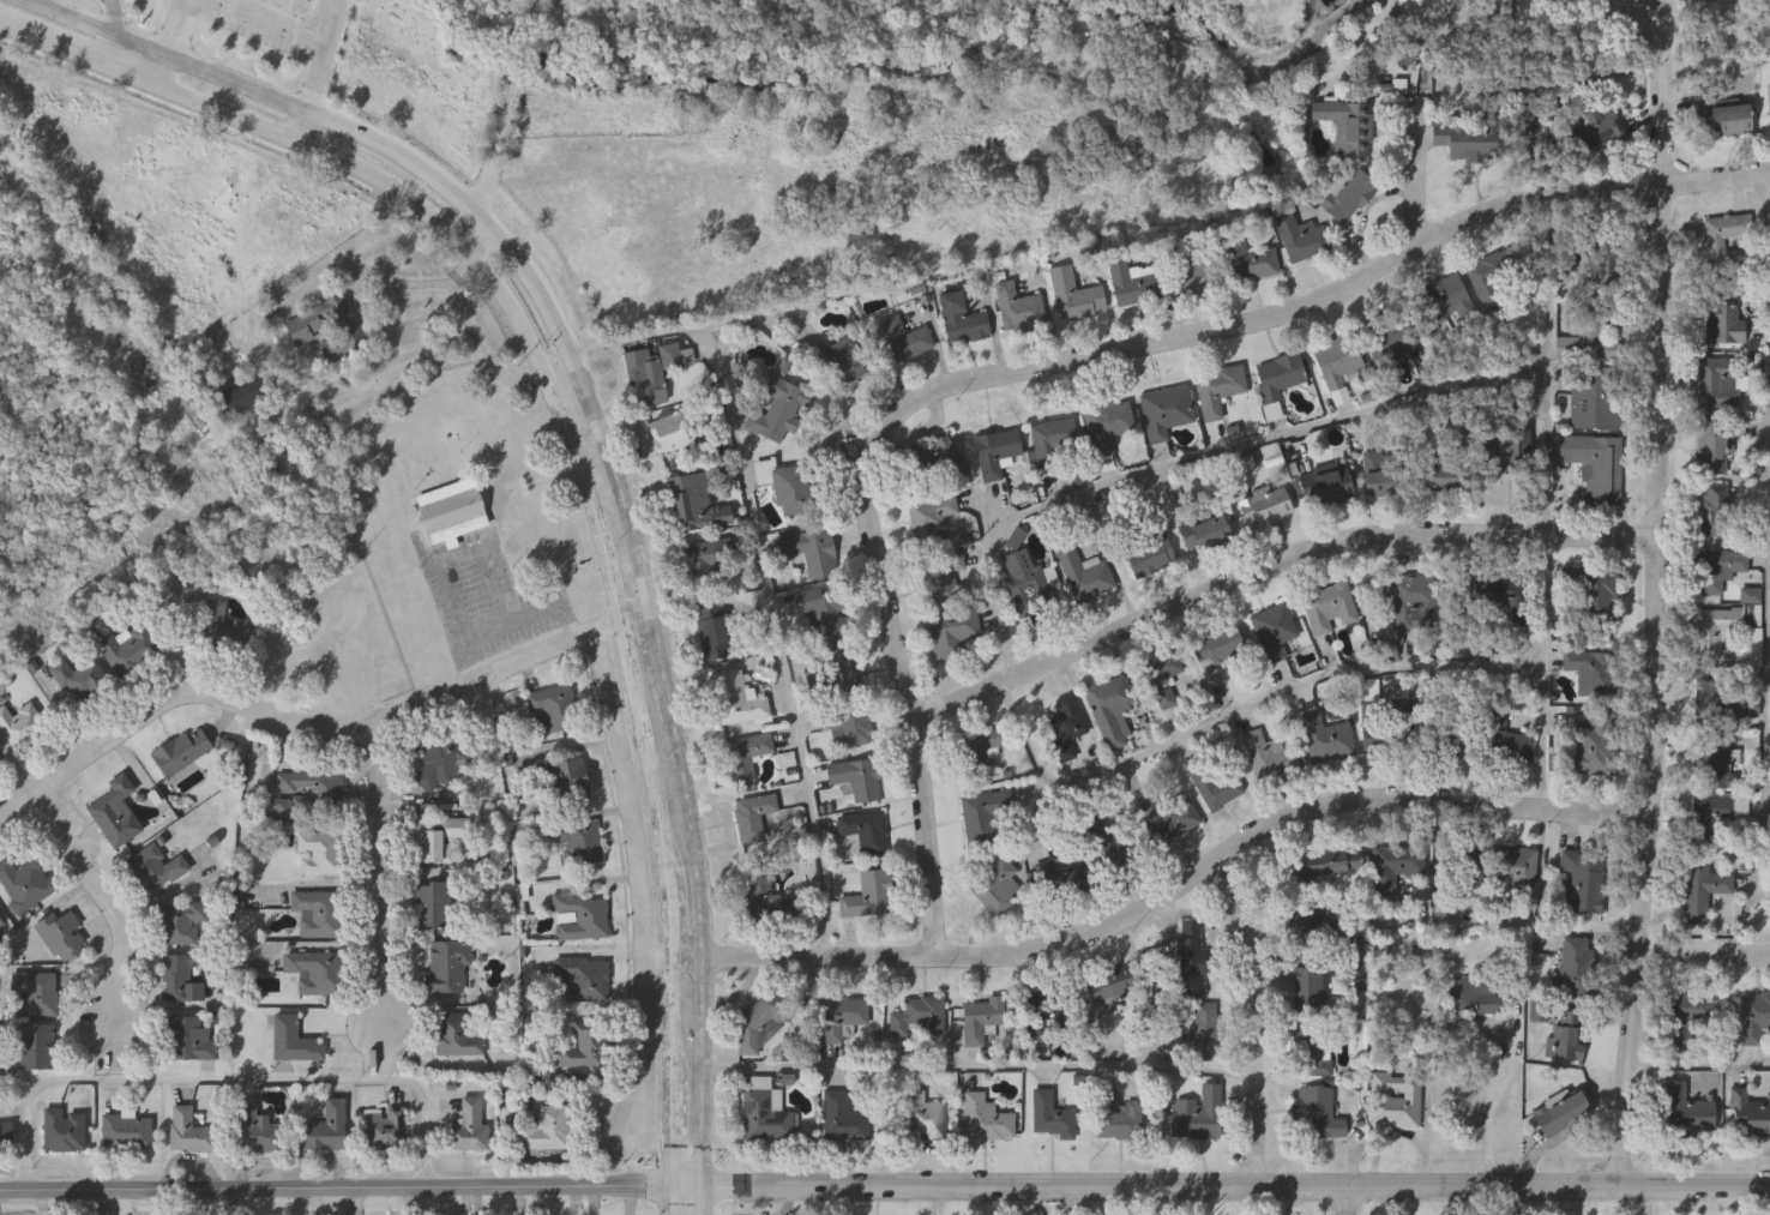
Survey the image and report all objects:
road: (67, 17)
road: (113, 17)
road: (276, 20)
road: (176, 28)
road: (50, 44)
road: (139, 46)
road: (107, 49)
road: (161, 71)
road: (319, 72)
road: (128, 74)
building: (1769, 100)
building: (1729, 120)
road: (505, 126)
building: (1349, 126)
building: (1597, 127)
building: (1530, 130)
building: (1468, 137)
road: (399, 161)
road: (383, 181)
road: (1417, 181)
building: (1348, 196)
road: (1766, 231)
building: (1301, 239)
building: (1724, 240)
building: (1248, 258)
building: (1607, 265)
building: (1190, 270)
building: (1498, 278)
road: (389, 279)
building: (1133, 283)
building: (1073, 296)
building: (1443, 300)
building: (1019, 308)
building: (961, 319)
building: (1723, 323)
building: (326, 327)
building: (1588, 332)
building: (1390, 336)
building: (904, 339)
building: (839, 360)
building: (1335, 363)
road: (1065, 366)
building: (651, 371)
building: (1278, 375)
building: (1718, 380)
building: (1218, 390)
building: (246, 399)
building: (1597, 401)
building: (778, 410)
building: (1166, 410)
building: (1107, 426)
building: (668, 434)
building: (1056, 444)
building: (1717, 446)
building: (995, 451)
building: (939, 459)
road: (1192, 459)
building: (1595, 467)
building: (1387, 474)
building: (1444, 476)
road: (619, 477)
building: (787, 486)
building: (1331, 487)
road: (589, 491)
building: (694, 504)
building: (1265, 507)
road: (1549, 507)
building: (1715, 509)
road: (979, 511)
building: (451, 513)
building: (931, 521)
building: (1204, 531)
building: (1150, 541)
building: (812, 551)
building: (706, 557)
road: (1272, 567)
building: (1717, 569)
road: (761, 575)
building: (1084, 575)
building: (1027, 578)
building: (944, 579)
building: (1411, 590)
building: (1505, 595)
building: (1591, 596)
road: (1658, 596)
building: (1329, 608)
building: (820, 610)
road: (638, 618)
road: (511, 621)
building: (212, 624)
road: (609, 626)
building: (1275, 630)
building: (714, 631)
building: (951, 632)
road: (589, 633)
building: (1727, 634)
building: (1217, 644)
building: (126, 649)
building: (1594, 670)
building: (832, 674)
building: (1162, 676)
building: (79, 679)
building: (735, 699)
building: (1724, 699)
building: (1110, 709)
building: (547, 711)
road: (278, 718)
road: (1234, 718)
building: (1066, 723)
building: (847, 724)
building: (1383, 726)
building: (22, 727)
building: (1326, 739)
building: (1449, 739)
building: (1506, 742)
building: (1593, 746)
building: (979, 748)
building: (182, 752)
road: (1765, 752)
road: (650, 756)
building: (1271, 756)
building: (743, 758)
building: (444, 763)
building: (1717, 763)
building: (856, 778)
building: (566, 781)
building: (1211, 783)
building: (308, 794)
building: (113, 813)
building: (985, 813)
building: (753, 817)
building: (1172, 819)
building: (1714, 819)
road: (1047, 823)
building: (866, 832)
building: (438, 838)
building: (579, 843)
building: (320, 852)
building: (1104, 861)
building: (1513, 866)
building: (156, 868)
building: (1392, 868)
building: (1327, 870)
road: (640, 882)
building: (1584, 882)
road: (379, 884)
building: (23, 885)
building: (999, 886)
building: (1703, 889)
building: (868, 895)
building: (759, 897)
road: (699, 898)
road: (1172, 900)
road: (109, 906)
building: (435, 906)
building: (318, 912)
building: (582, 918)
building: (182, 922)
building: (0, 926)
road: (672, 927)
building: (61, 933)
road: (1705, 956)
building: (1190, 957)
road: (658, 961)
building: (447, 966)
building: (1575, 966)
building: (315, 972)
building: (181, 980)
building: (582, 980)
building: (1113, 988)
building: (1307, 992)
building: (38, 993)
building: (1471, 997)
building: (1047, 1016)
building: (919, 1017)
building: (1687, 1017)
building: (1753, 1018)
building: (755, 1019)
building: (845, 1019)
building: (981, 1019)
road: (1254, 1023)
road: (673, 1029)
building: (1205, 1031)
building: (457, 1035)
building: (1569, 1036)
building: (189, 1040)
building: (295, 1042)
building: (37, 1046)
building: (584, 1048)
building: (1311, 1049)
road: (979, 1069)
road: (1700, 1070)
road: (227, 1083)
building: (1396, 1100)
road: (1489, 1108)
building: (1686, 1111)
building: (1314, 1114)
building: (1561, 1114)
building: (1748, 1114)
building: (1050, 1117)
building: (1193, 1117)
building: (764, 1118)
building: (842, 1118)
building: (925, 1118)
building: (1120, 1118)
building: (987, 1119)
building: (326, 1129)
building: (258, 1130)
building: (385, 1130)
building: (468, 1130)
building: (547, 1130)
building: (65, 1131)
building: (6, 1133)
building: (127, 1133)
building: (191, 1133)
road: (673, 1142)
traffic signals: (673, 1187)
road: (688, 1187)
traffic signals: (704, 1187)
road: (1236, 1187)
road: (336, 1190)
road: (673, 1201)
road: (703, 1201)
road: (1348, 1202)

